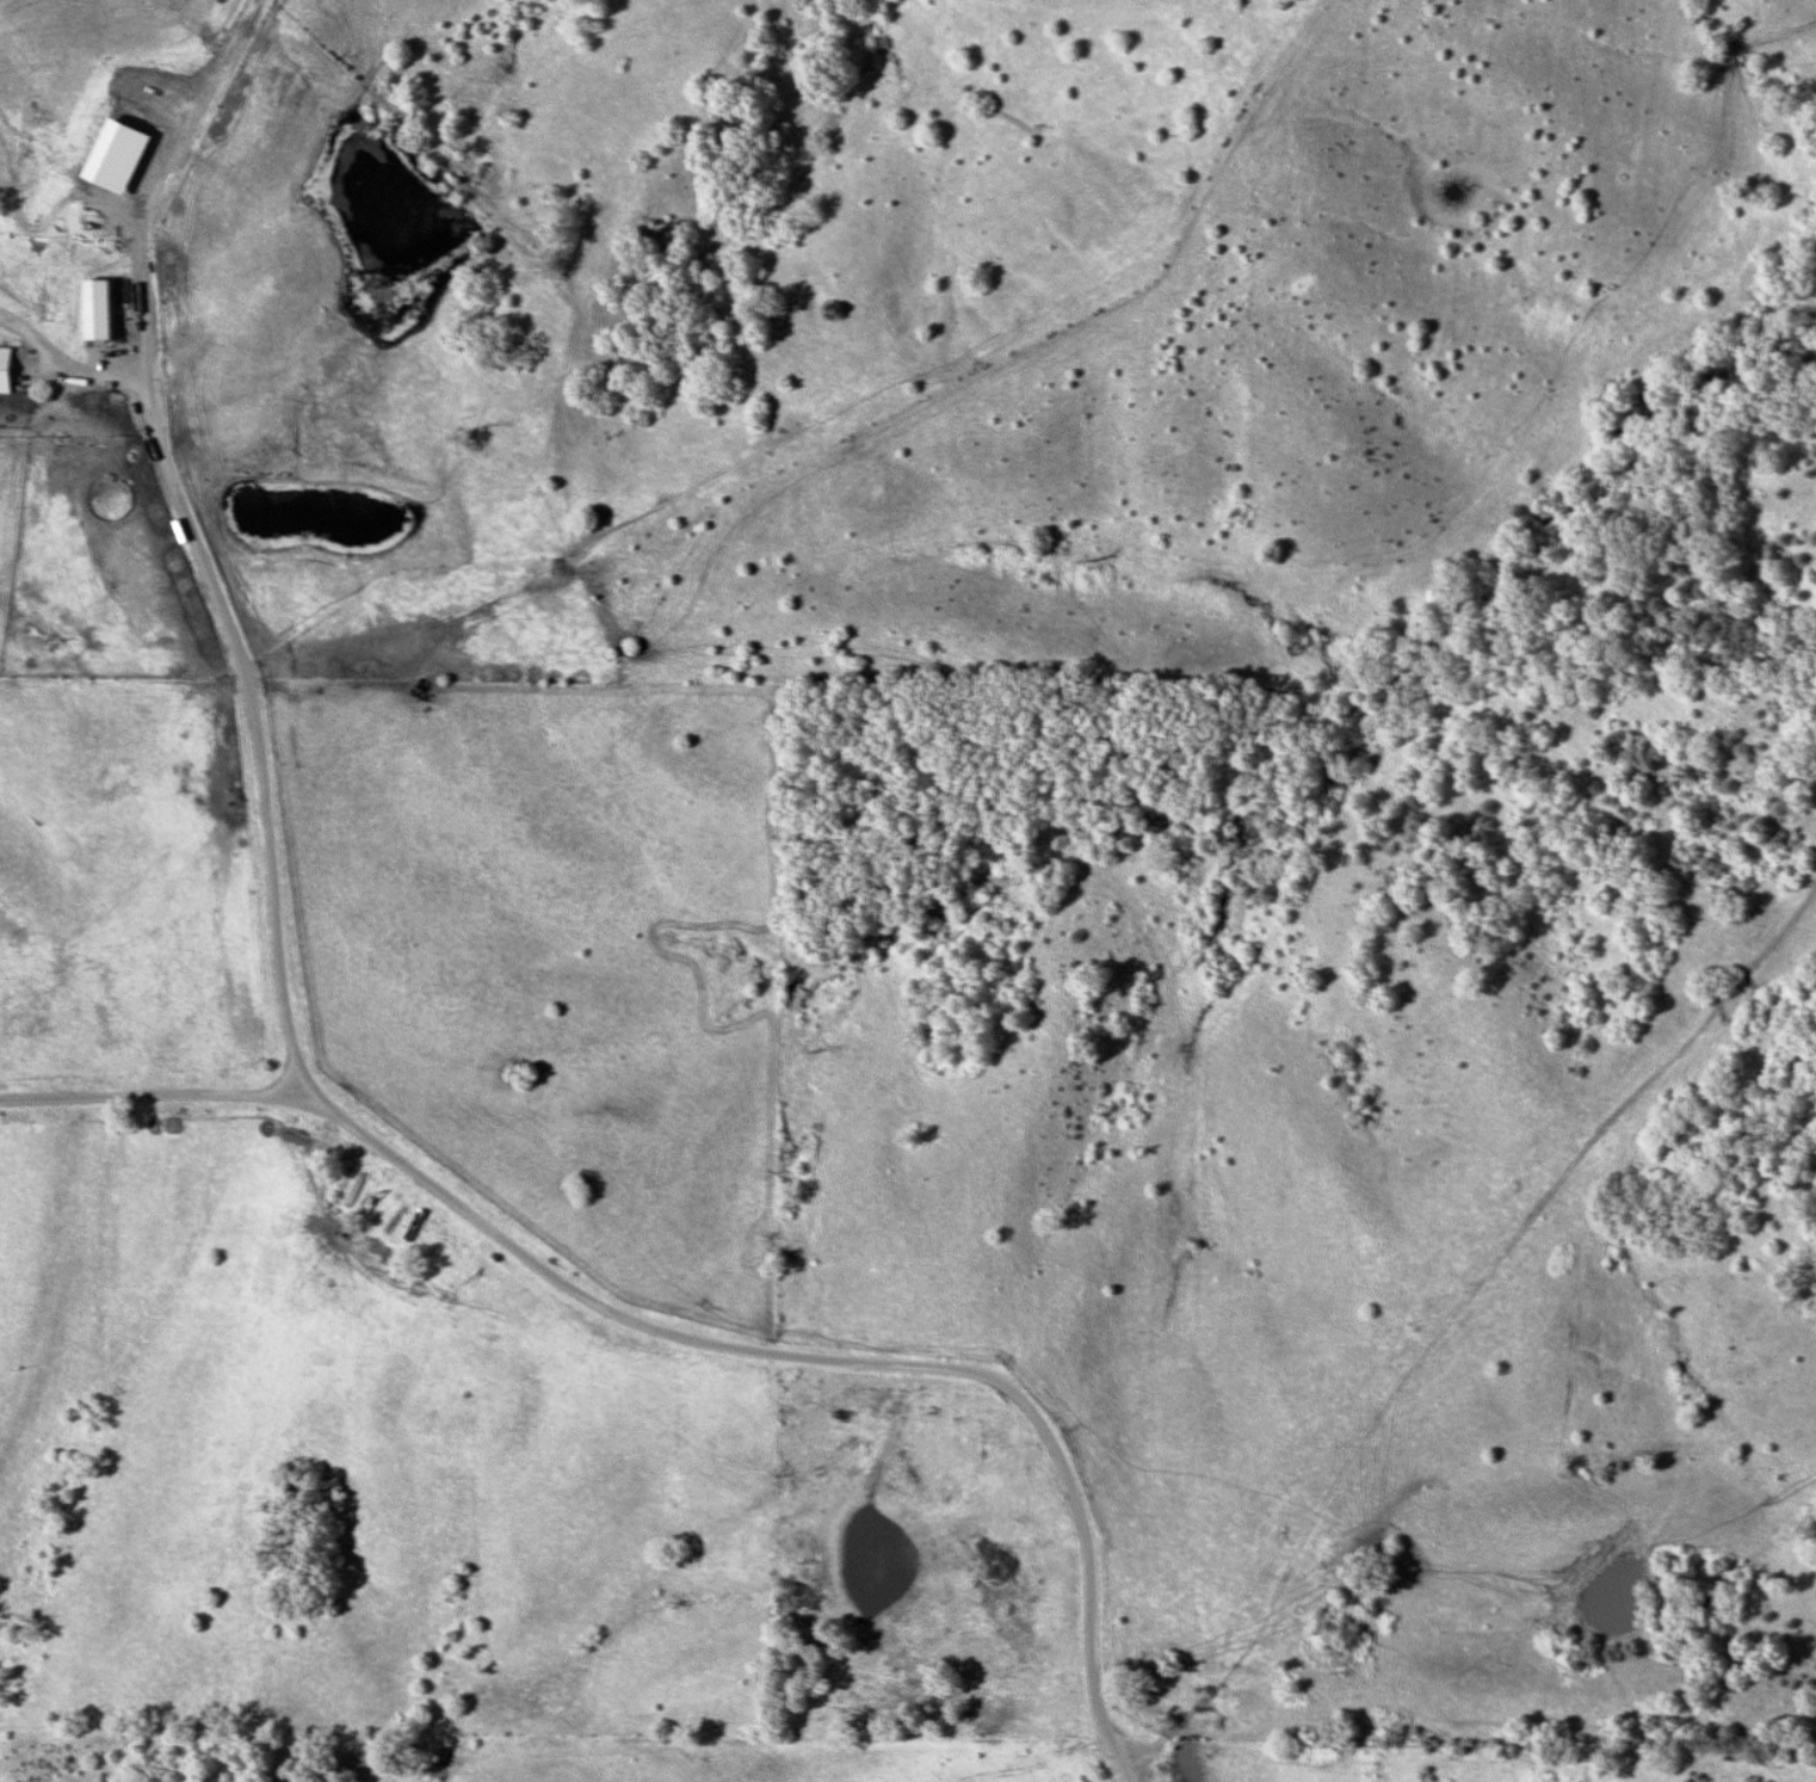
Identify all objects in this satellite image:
building: (6, 370)
road: (67, 376)
road: (286, 1079)
road: (135, 1099)
road: (303, 1104)
road: (333, 1109)

